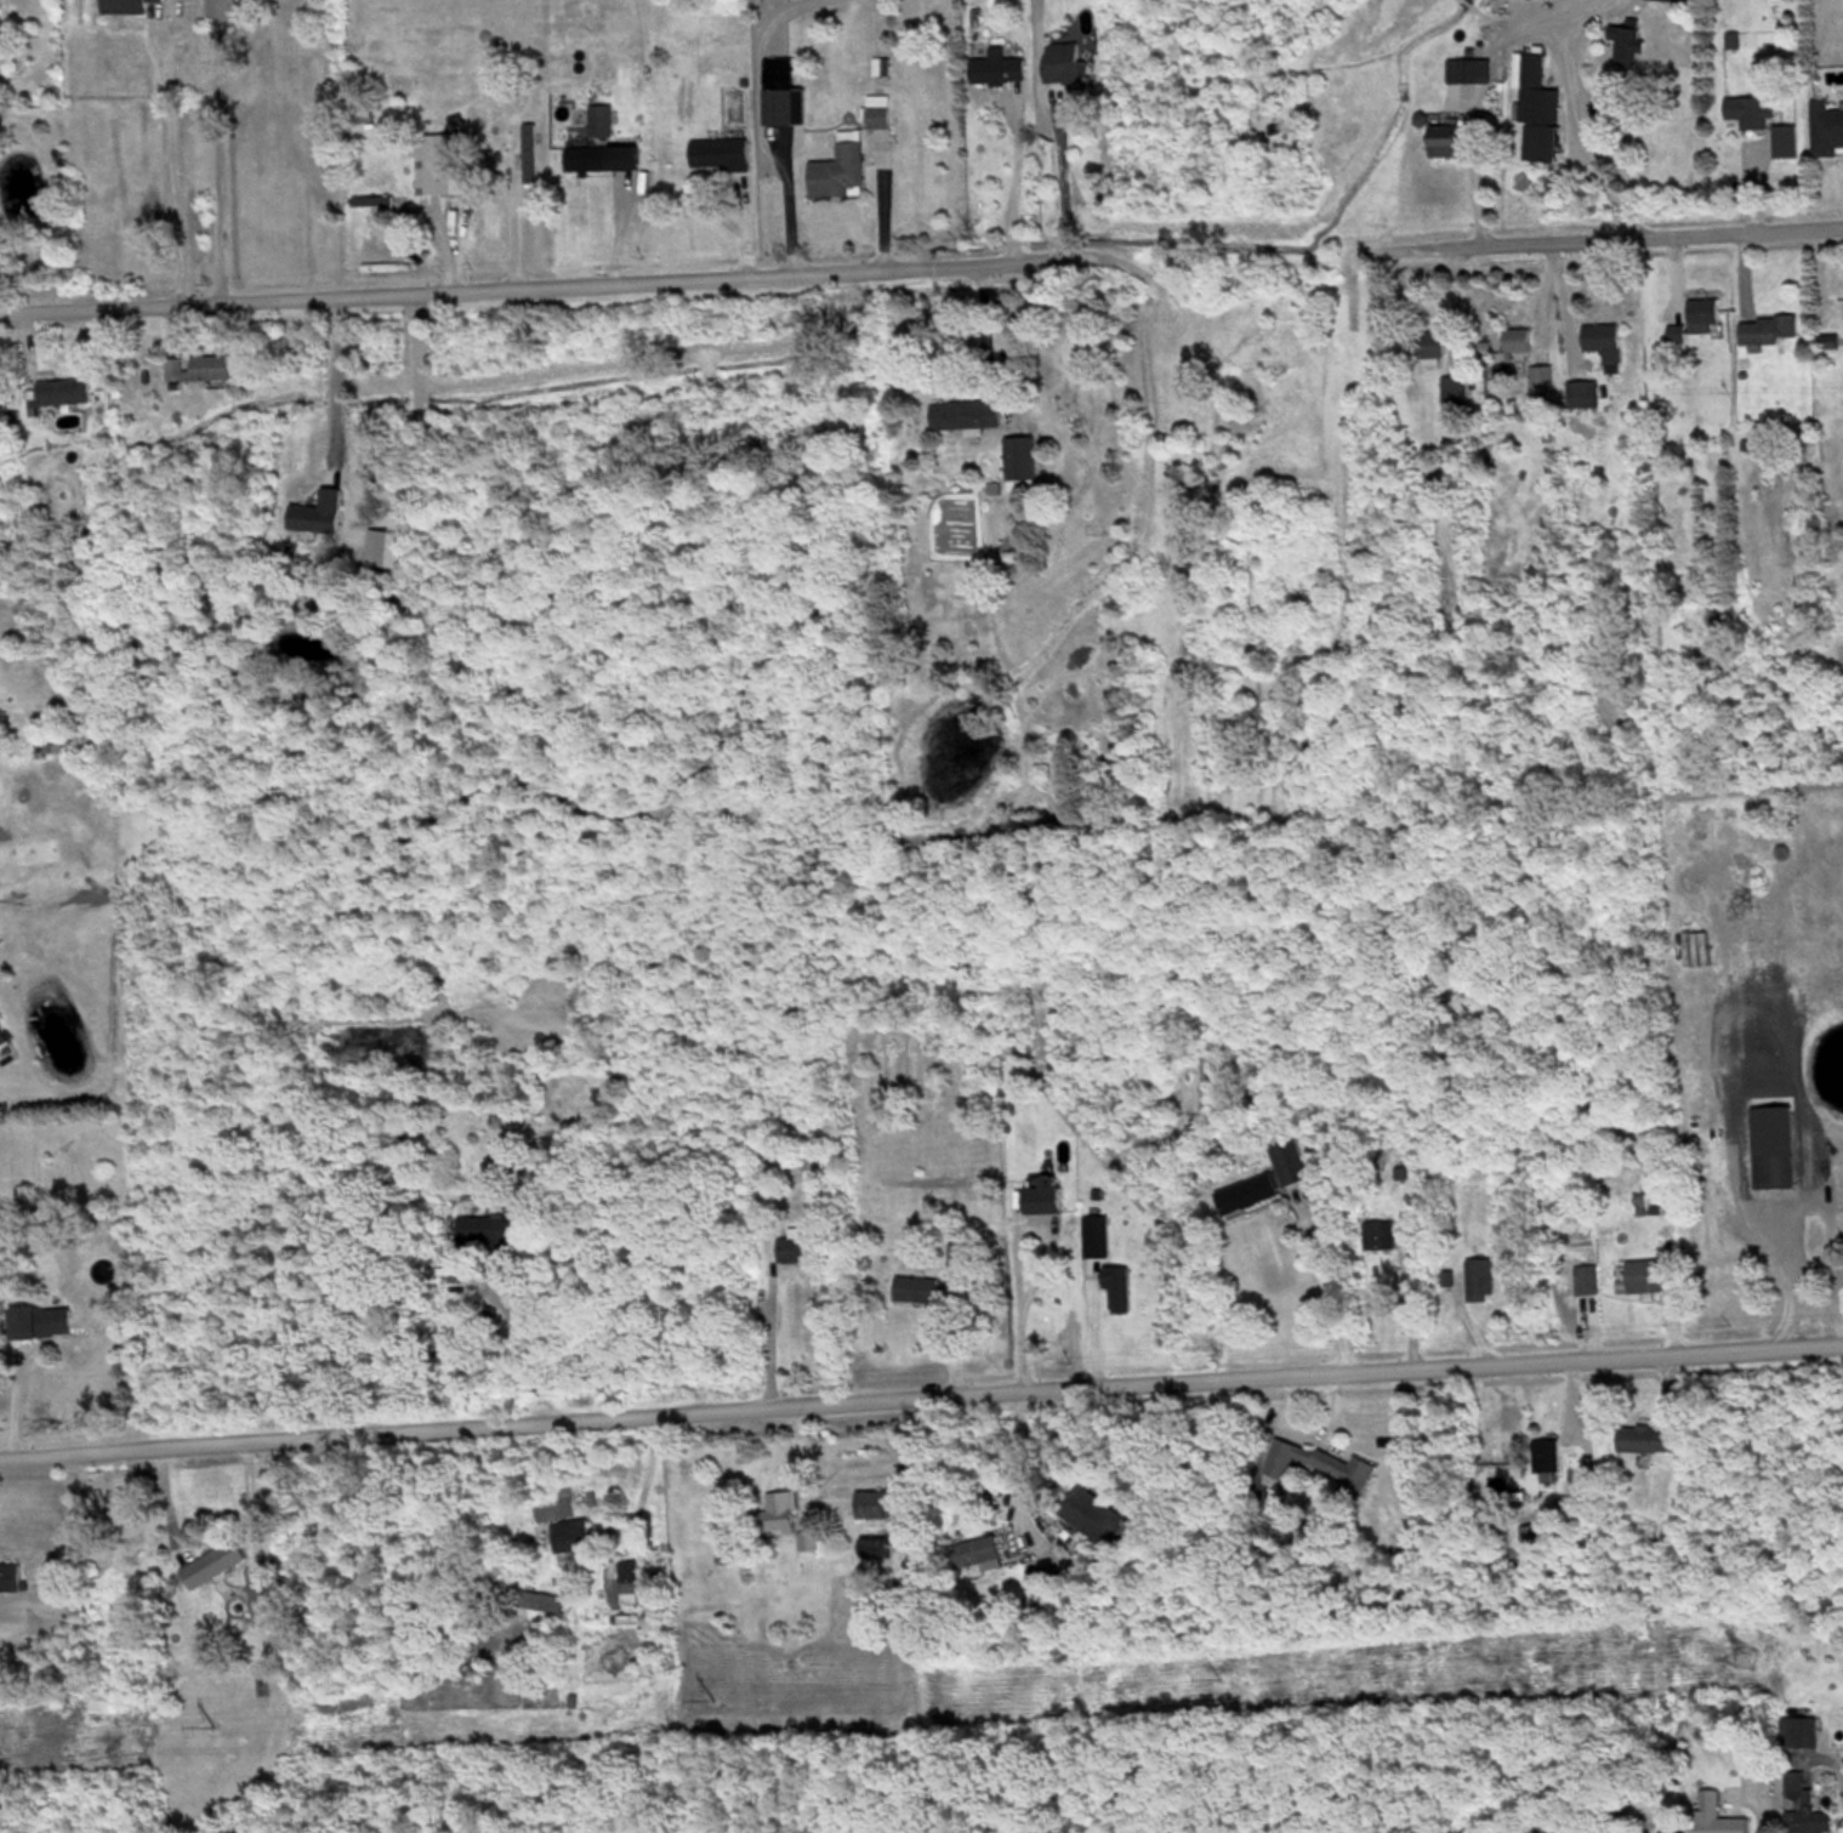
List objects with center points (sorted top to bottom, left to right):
building: (123, 6)
building: (1625, 41)
building: (1063, 64)
building: (996, 68)
building: (1467, 70)
building: (778, 107)
building: (1535, 108)
building: (1747, 110)
building: (875, 116)
road: (1580, 119)
building: (599, 120)
building: (1825, 129)
building: (1784, 141)
building: (1441, 146)
building: (450, 147)
building: (529, 152)
building: (718, 154)
road: (220, 158)
building: (590, 158)
building: (838, 169)
road: (174, 181)
road: (1016, 183)
road: (1062, 190)
road: (886, 200)
building: (375, 203)
road: (1604, 238)
road: (545, 288)
building: (1695, 319)
building: (1767, 329)
building: (1515, 338)
building: (1602, 340)
building: (1423, 343)
building: (197, 365)
building: (1540, 375)
road: (337, 380)
building: (1452, 388)
building: (61, 389)
building: (1581, 392)
building: (965, 411)
building: (1019, 460)
building: (317, 511)
building: (2, 1037)
building: (408, 1149)
building: (1289, 1159)
building: (1773, 1168)
building: (1246, 1190)
building: (1041, 1194)
road: (1796, 1202)
building: (490, 1229)
building: (800, 1245)
building: (957, 1253)
road: (1018, 1259)
building: (1642, 1274)
building: (1478, 1277)
building: (1585, 1277)
building: (915, 1287)
building: (1116, 1288)
road: (1325, 1297)
building: (38, 1320)
road: (769, 1339)
road: (527, 1343)
road: (921, 1404)
building: (1645, 1438)
building: (1543, 1457)
building: (1319, 1464)
road: (1020, 1475)
building: (871, 1503)
building: (778, 1512)
building: (1094, 1518)
building: (570, 1538)
building: (1531, 1538)
building: (806, 1539)
building: (977, 1553)
building: (211, 1562)
building: (10, 1577)
building: (260, 1588)
building: (627, 1623)
power tower: (1747, 1655)
power tower: (1221, 1678)
power tower: (717, 1697)
power tower: (216, 1727)
building: (1802, 1808)
building: (1716, 1815)

